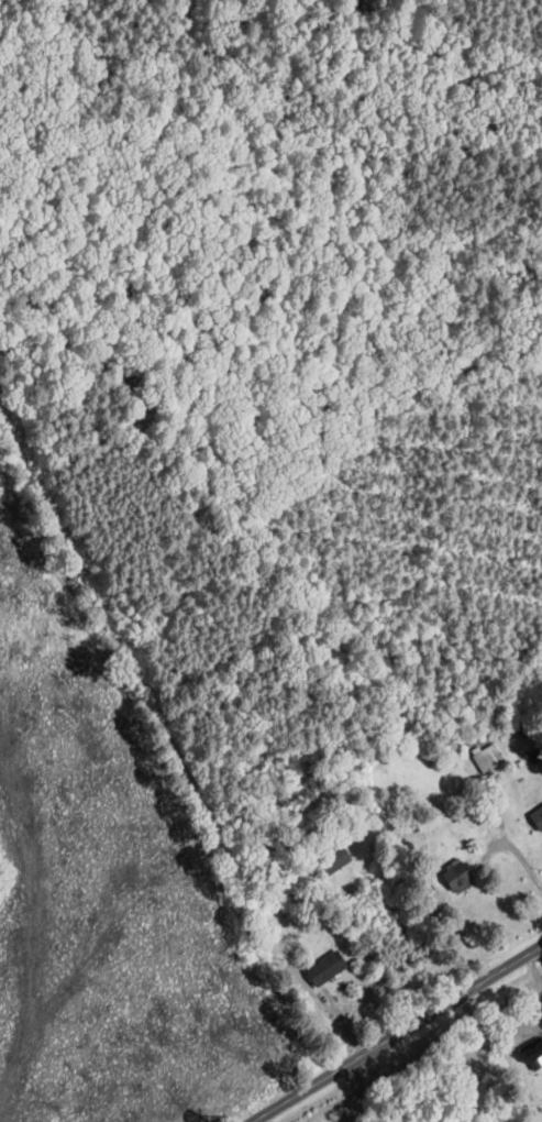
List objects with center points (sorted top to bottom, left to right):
building: (487, 758)
road: (190, 765)
building: (537, 820)
road: (517, 851)
building: (330, 862)
building: (455, 878)
building: (324, 968)
road: (399, 1034)
building: (533, 1053)
road: (360, 1092)

